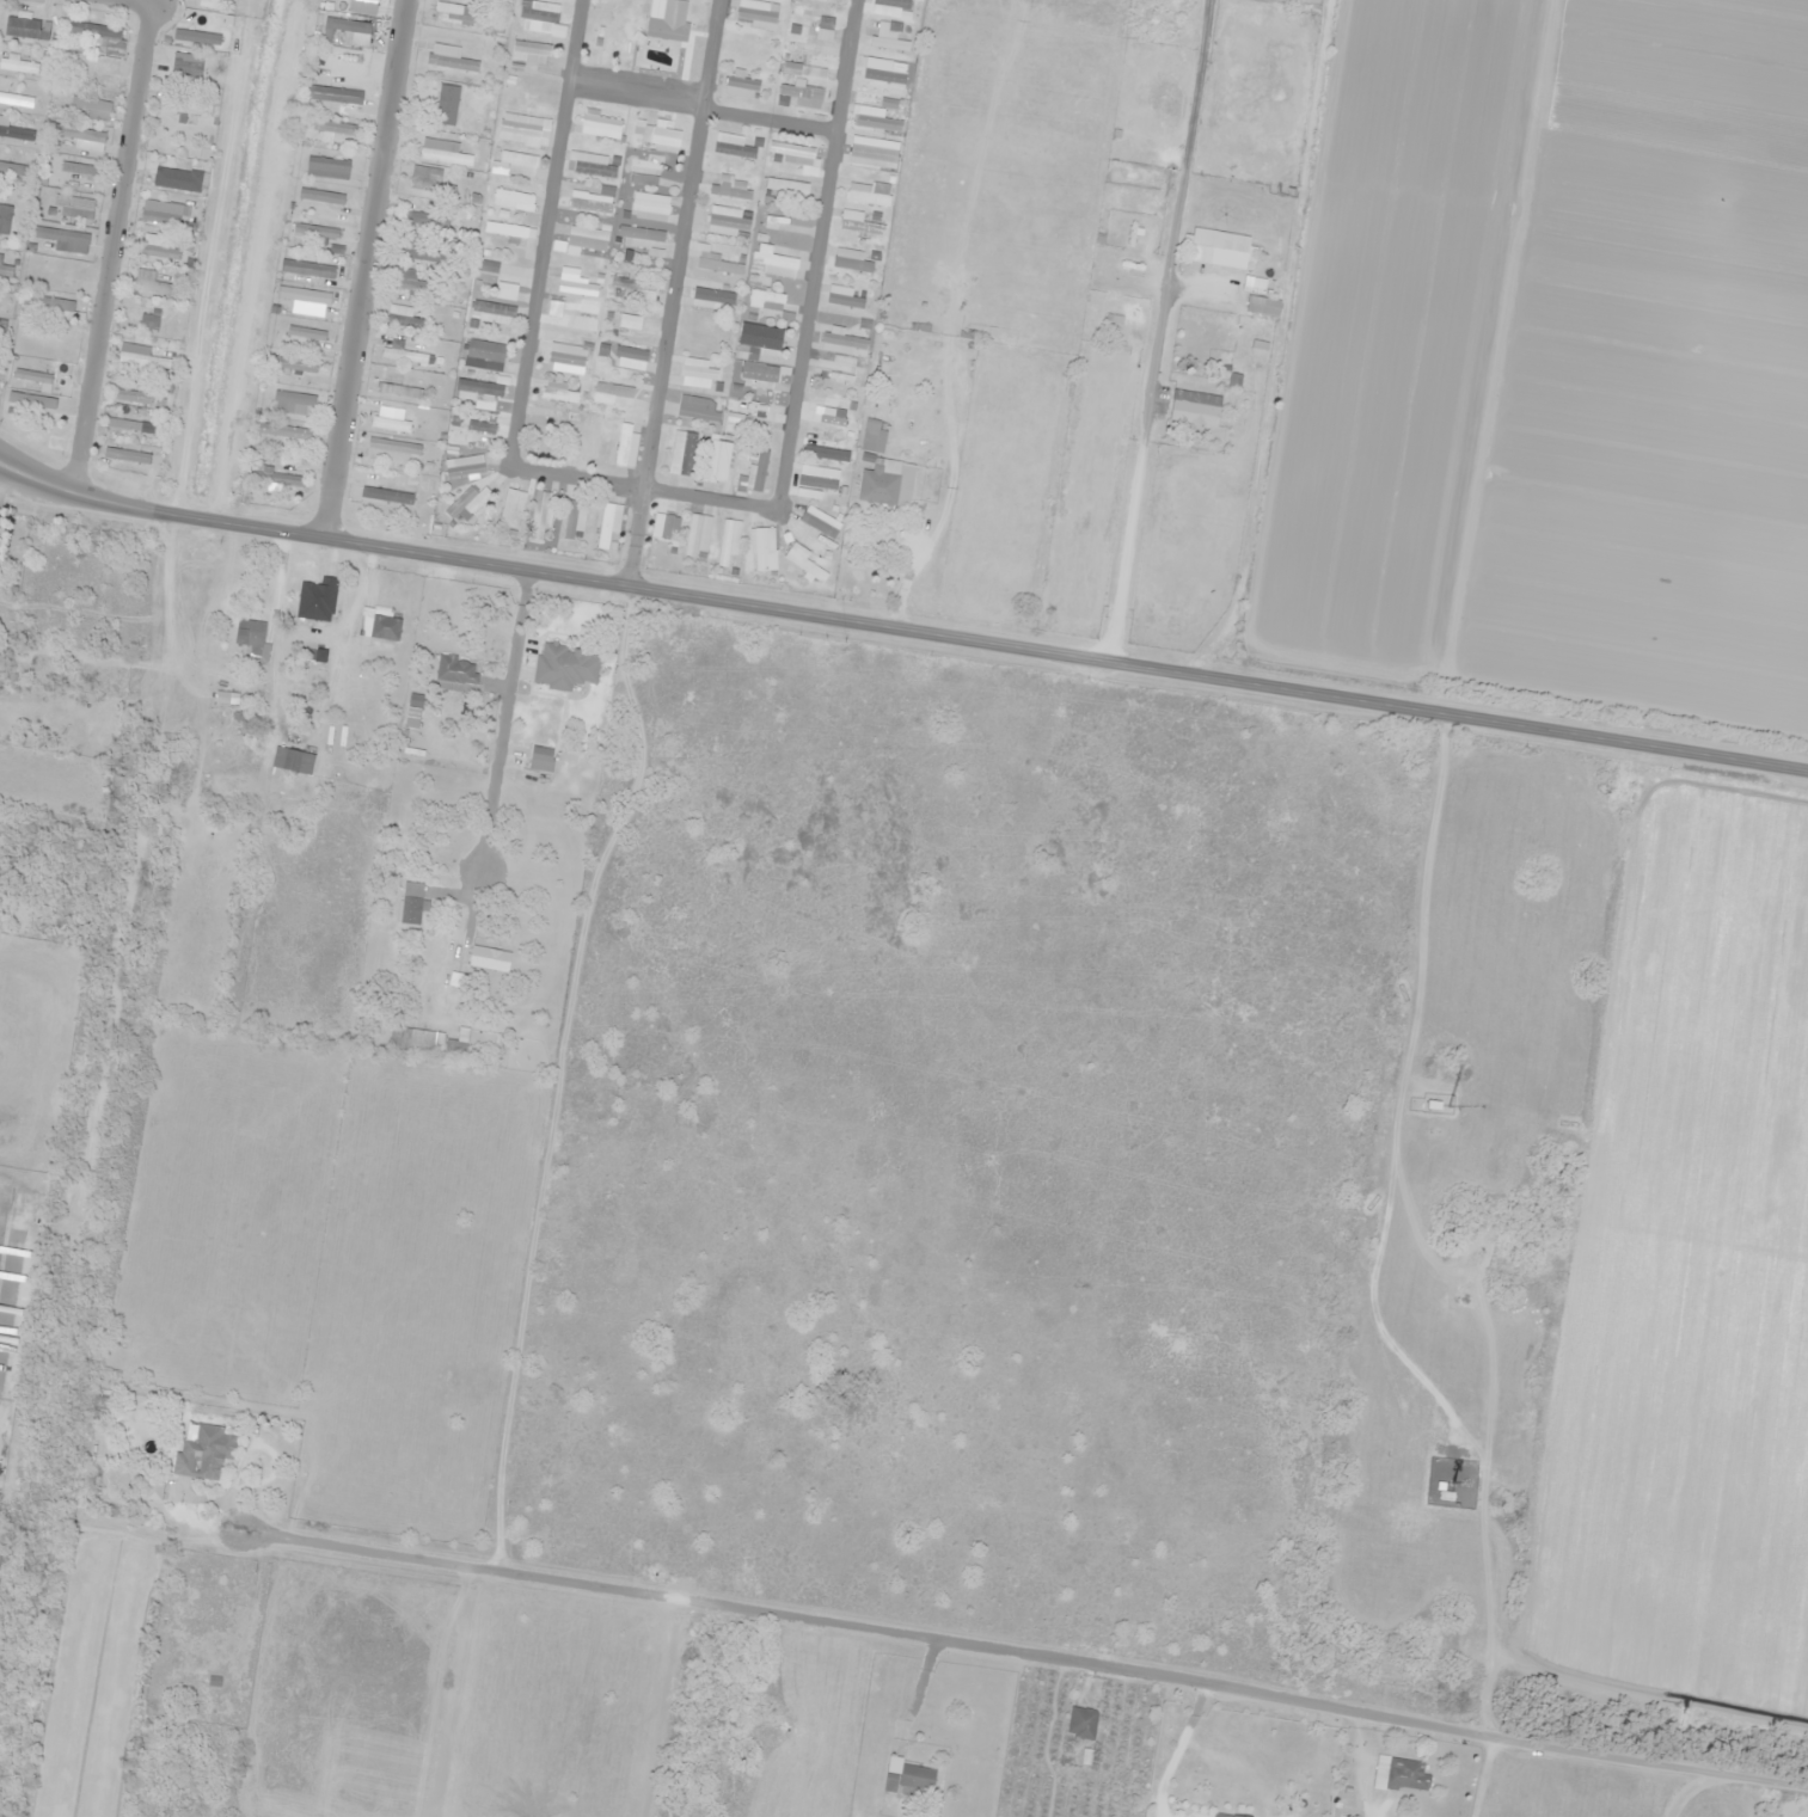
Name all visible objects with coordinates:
building: (895, 2)
road: (134, 4)
building: (213, 4)
building: (539, 11)
building: (455, 13)
building: (756, 13)
building: (667, 30)
building: (823, 30)
building: (102, 36)
building: (888, 39)
building: (531, 51)
building: (185, 62)
building: (18, 65)
building: (94, 69)
building: (883, 72)
building: (741, 85)
building: (335, 94)
building: (803, 96)
building: (16, 99)
building: (447, 104)
building: (185, 106)
road: (701, 109)
building: (876, 119)
building: (602, 125)
building: (521, 129)
building: (16, 133)
building: (79, 133)
building: (657, 134)
building: (733, 146)
building: (874, 153)
building: (791, 154)
building: (446, 155)
building: (516, 164)
building: (593, 164)
building: (327, 167)
building: (14, 168)
building: (80, 168)
building: (644, 171)
building: (428, 179)
building: (786, 186)
building: (733, 189)
building: (869, 192)
building: (321, 196)
building: (513, 199)
building: (594, 199)
building: (650, 204)
building: (73, 205)
building: (163, 213)
building: (5, 217)
building: (729, 222)
building: (858, 223)
building: (509, 229)
building: (315, 231)
building: (63, 239)
building: (587, 239)
building: (643, 239)
building: (1219, 247)
building: (161, 251)
road: (118, 252)
road: (815, 253)
building: (423, 254)
building: (851, 260)
building: (717, 263)
building: (773, 263)
building: (1127, 264)
building: (489, 266)
road: (362, 268)
building: (6, 269)
building: (307, 269)
building: (410, 281)
building: (152, 283)
building: (577, 286)
building: (633, 288)
building: (505, 290)
road: (669, 291)
building: (304, 295)
building: (712, 299)
building: (765, 300)
road: (534, 303)
building: (47, 305)
building: (1263, 306)
building: (147, 320)
building: (570, 320)
building: (404, 321)
building: (2, 324)
building: (300, 331)
building: (761, 337)
building: (845, 343)
building: (605, 349)
building: (403, 352)
building: (488, 352)
building: (631, 352)
building: (141, 355)
building: (566, 357)
building: (839, 372)
building: (699, 373)
building: (759, 373)
building: (32, 375)
building: (479, 388)
building: (558, 392)
building: (613, 394)
building: (131, 395)
building: (293, 403)
building: (1195, 407)
building: (701, 415)
building: (390, 419)
building: (547, 423)
building: (125, 424)
building: (482, 426)
building: (284, 431)
building: (874, 435)
building: (589, 437)
building: (626, 447)
building: (821, 448)
building: (682, 453)
building: (127, 455)
building: (717, 461)
building: (465, 466)
building: (755, 472)
building: (277, 480)
building: (887, 481)
building: (386, 495)
road: (710, 499)
building: (471, 503)
building: (511, 508)
building: (544, 509)
building: (575, 520)
building: (608, 522)
building: (820, 522)
building: (669, 528)
building: (698, 535)
building: (729, 541)
building: (765, 548)
building: (804, 563)
building: (317, 600)
building: (379, 625)
road: (900, 630)
building: (252, 637)
building: (565, 667)
building: (456, 674)
building: (541, 754)
building: (292, 760)
building: (411, 903)
building: (489, 958)
building: (416, 1039)
building: (88, 1450)
building: (203, 1451)
building: (1081, 1721)
building: (1406, 1774)
building: (908, 1776)
building: (1225, 1815)

